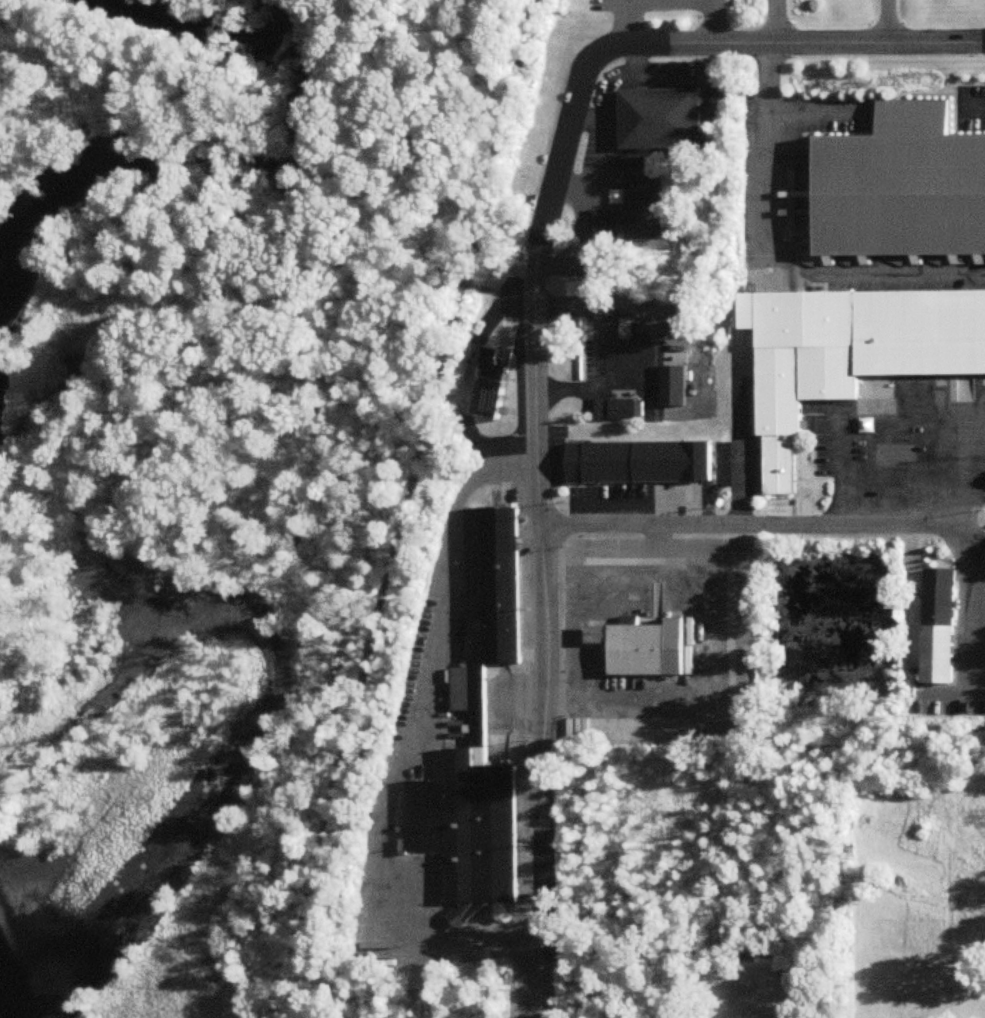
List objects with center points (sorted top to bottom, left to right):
road: (707, 20)
road: (766, 20)
road: (628, 22)
road: (983, 39)
road: (606, 80)
road: (972, 106)
building: (658, 114)
road: (708, 132)
river: (257, 166)
road: (600, 170)
building: (900, 184)
building: (632, 204)
road: (775, 252)
road: (536, 338)
building: (849, 347)
building: (490, 380)
building: (673, 386)
road: (946, 407)
building: (616, 410)
road: (900, 412)
road: (859, 417)
road: (977, 423)
building: (634, 457)
road: (977, 470)
road: (398, 510)
road: (745, 525)
road: (967, 531)
road: (970, 604)
building: (938, 626)
building: (647, 649)
road: (693, 668)
road: (978, 690)
river: (267, 710)
building: (473, 725)
road: (407, 747)

